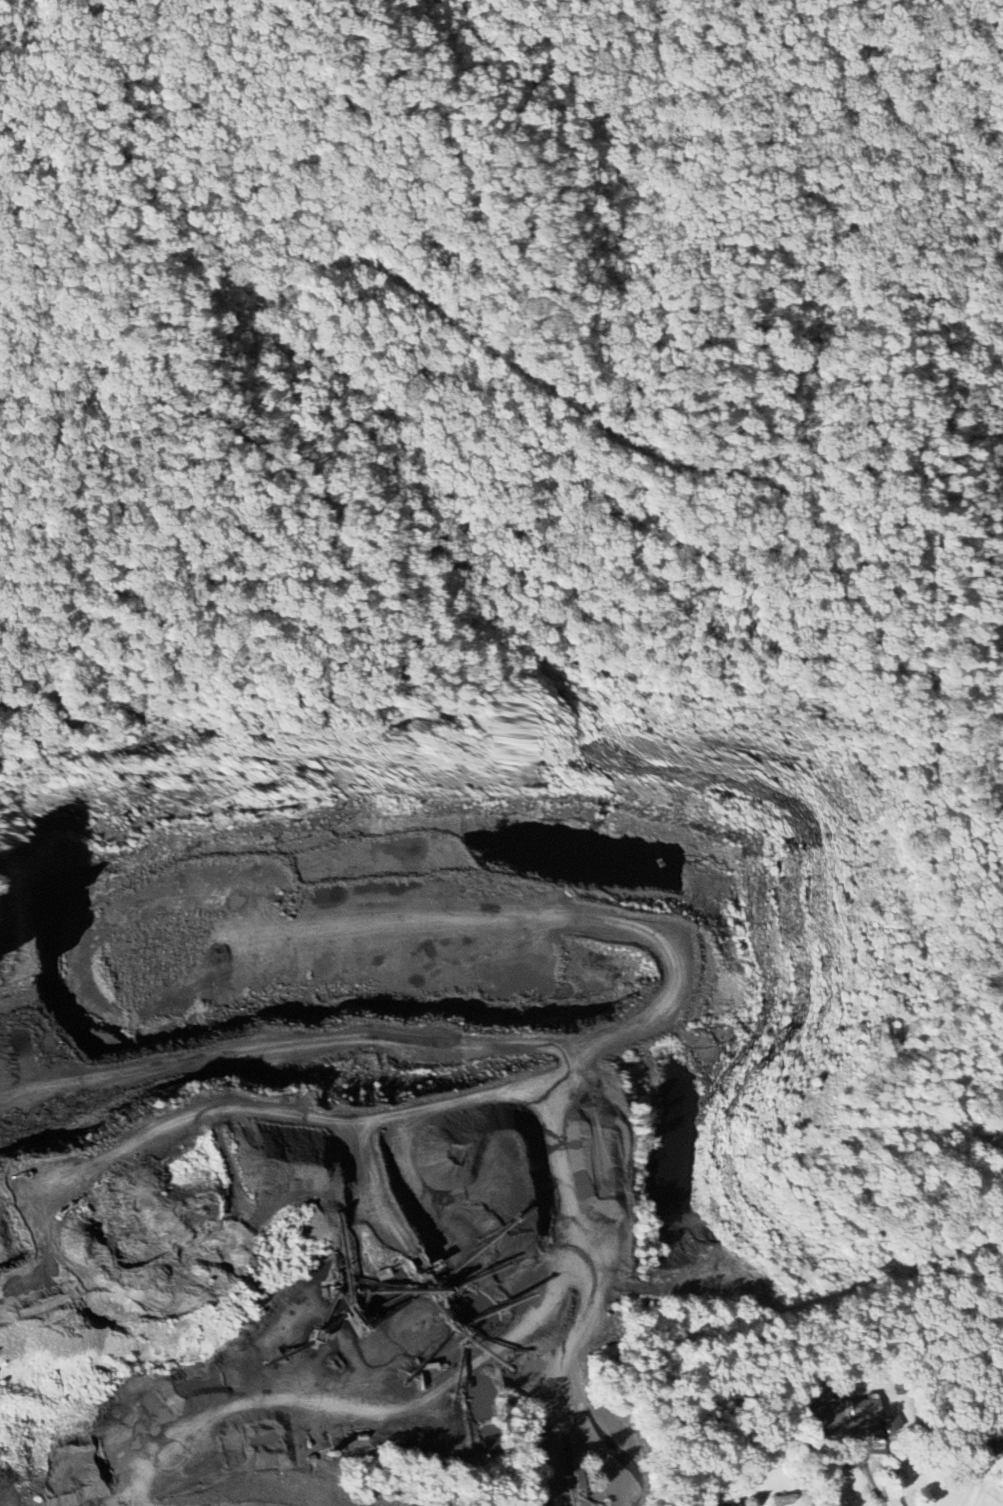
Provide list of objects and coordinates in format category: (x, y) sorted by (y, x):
quarry: (389, 1108)
building: (867, 1411)
building: (892, 1424)
road: (556, 1449)

